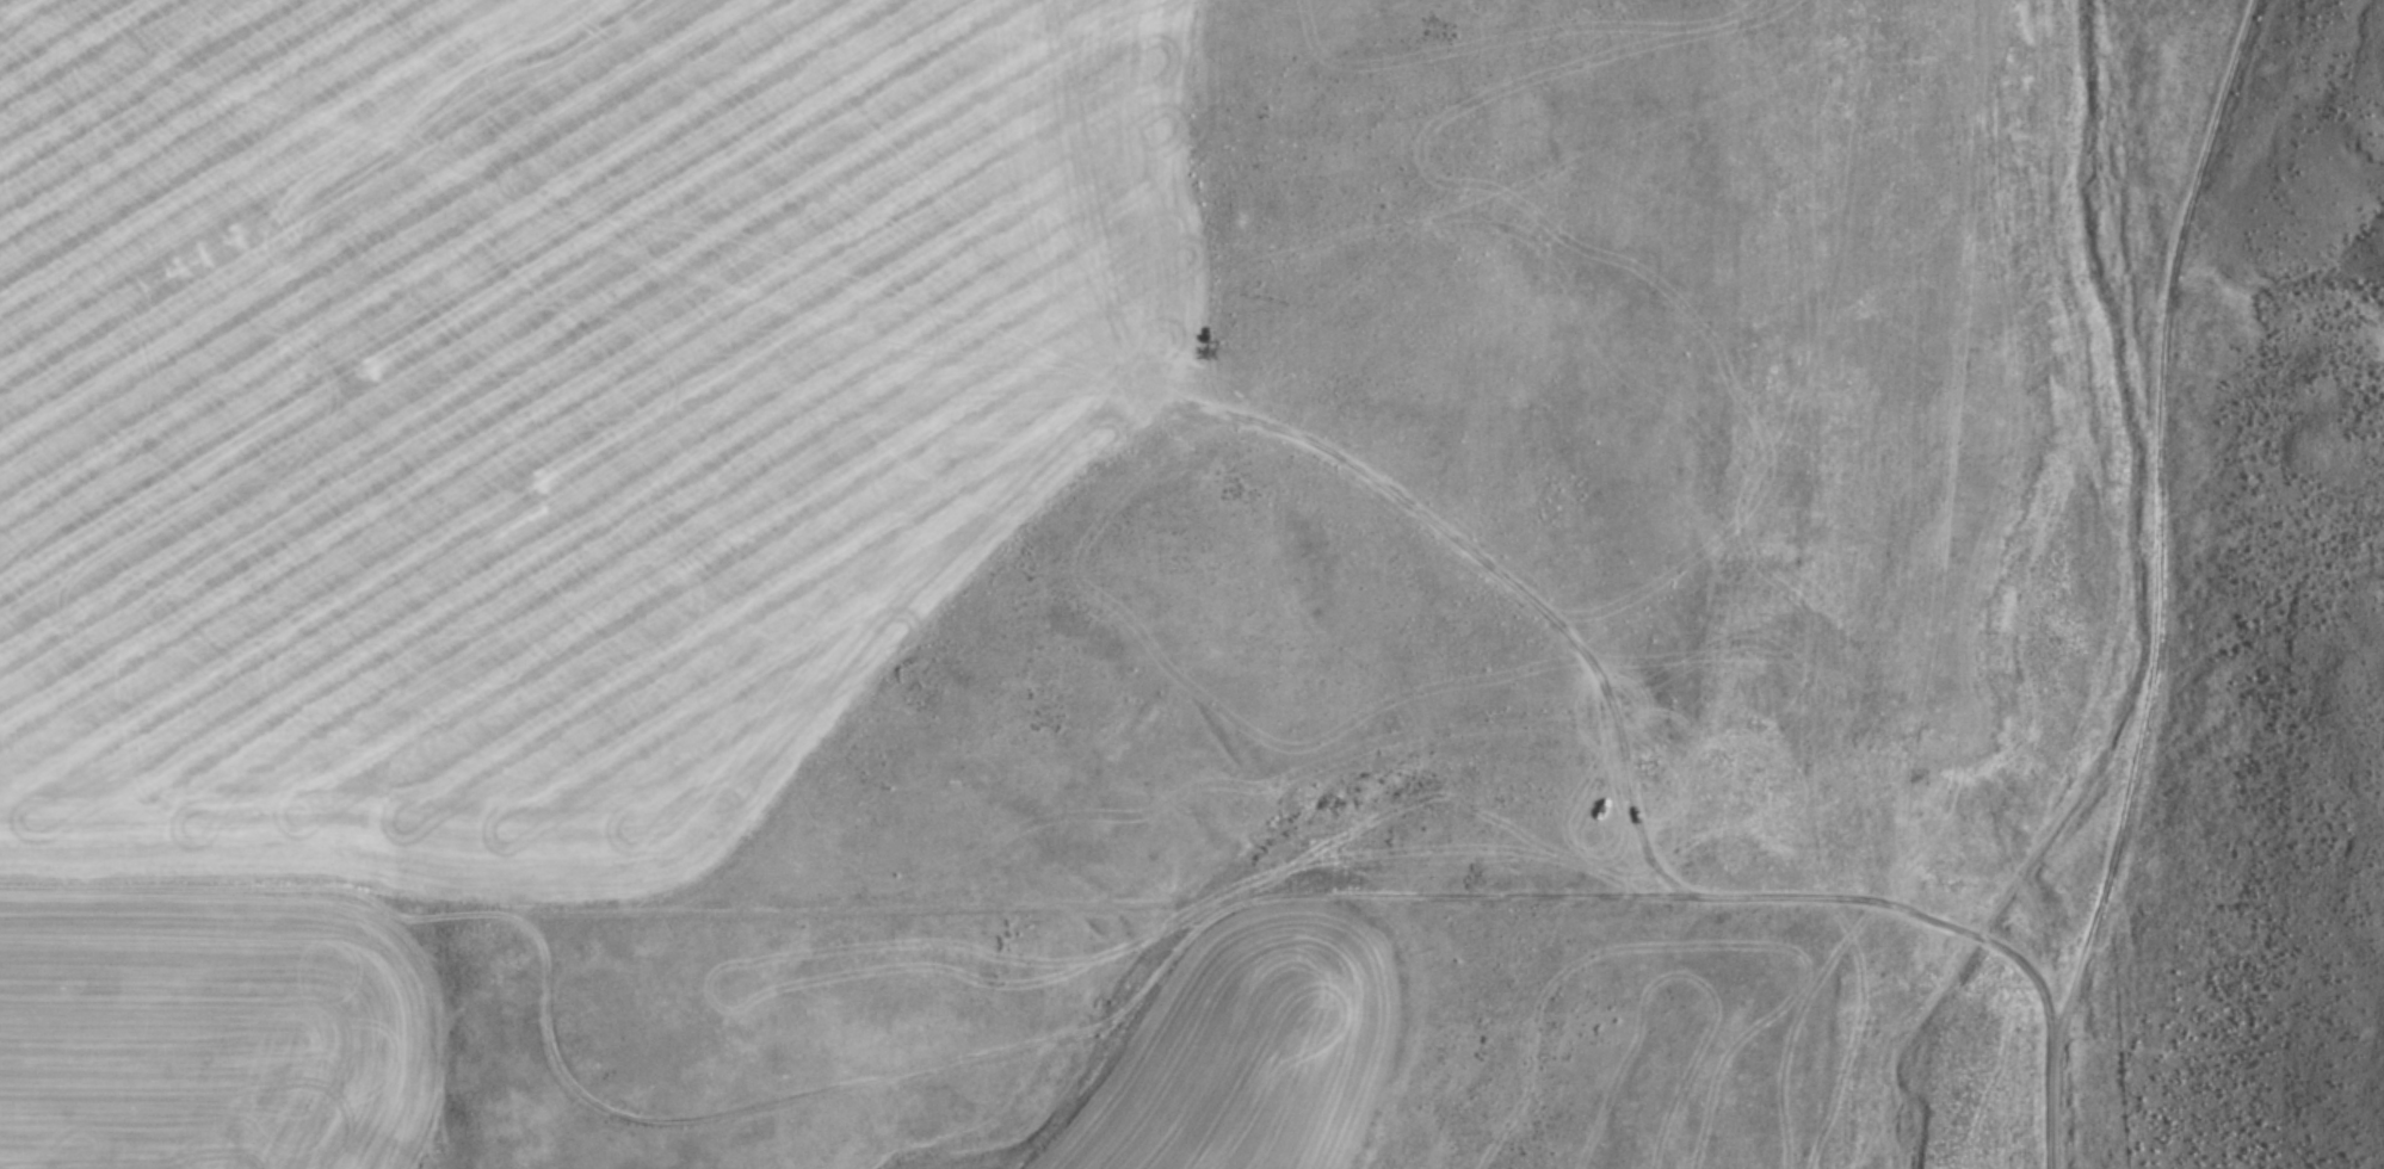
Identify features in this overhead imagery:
road: (2144, 581)

